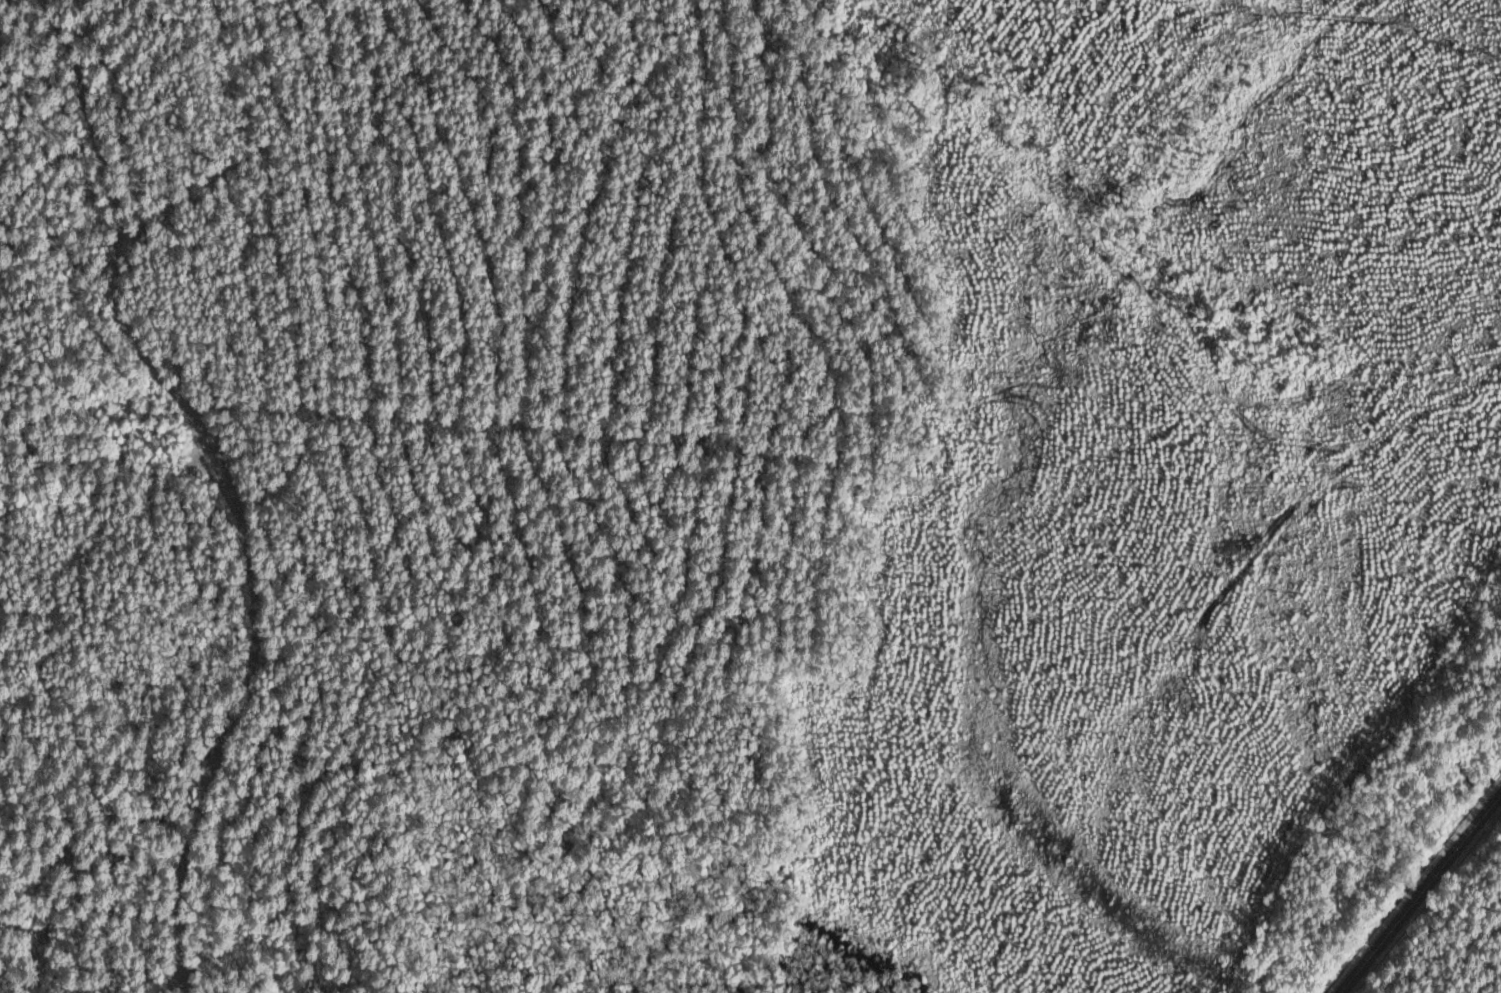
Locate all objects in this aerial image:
road: (1424, 894)

